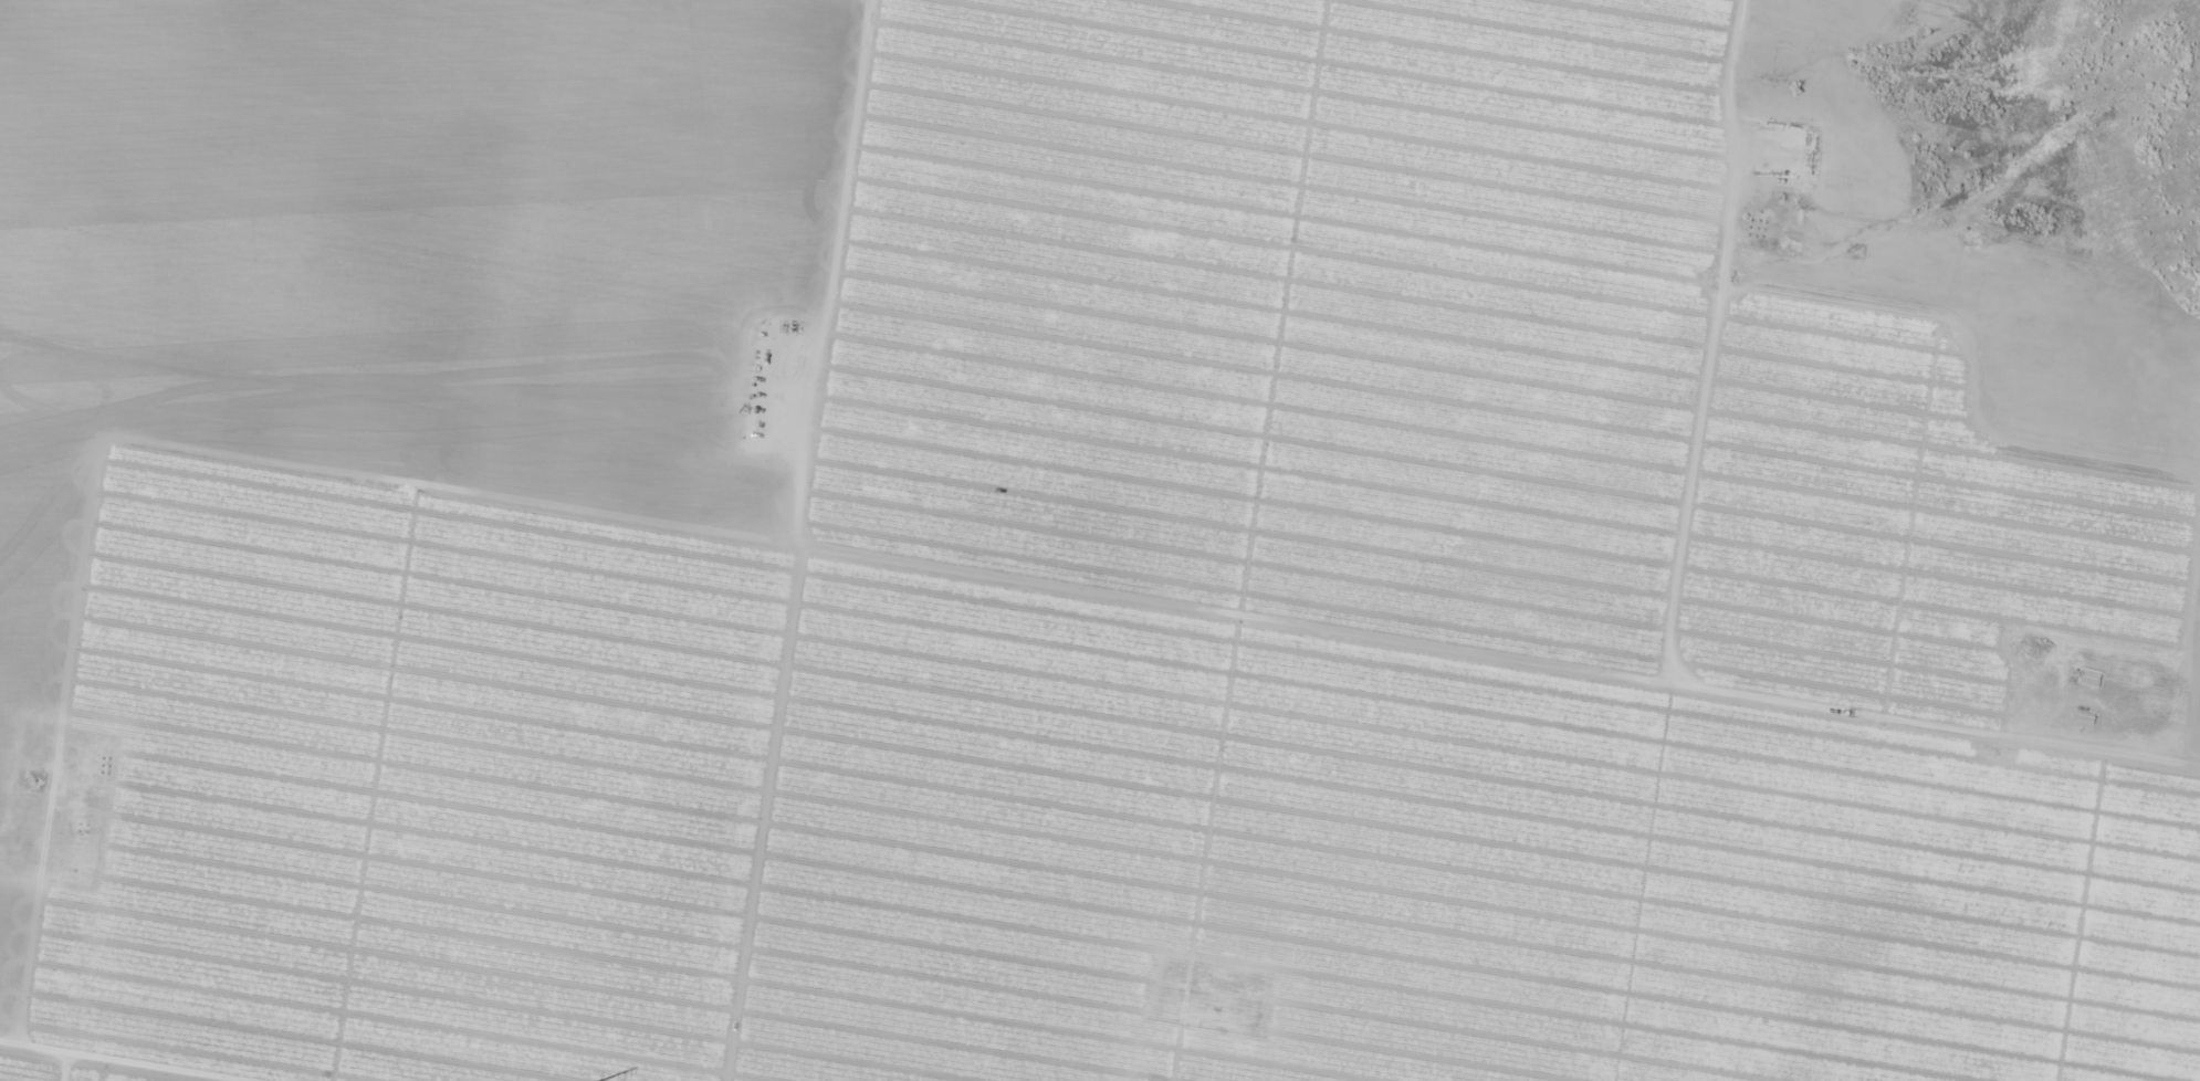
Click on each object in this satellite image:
road: (486, 540)

